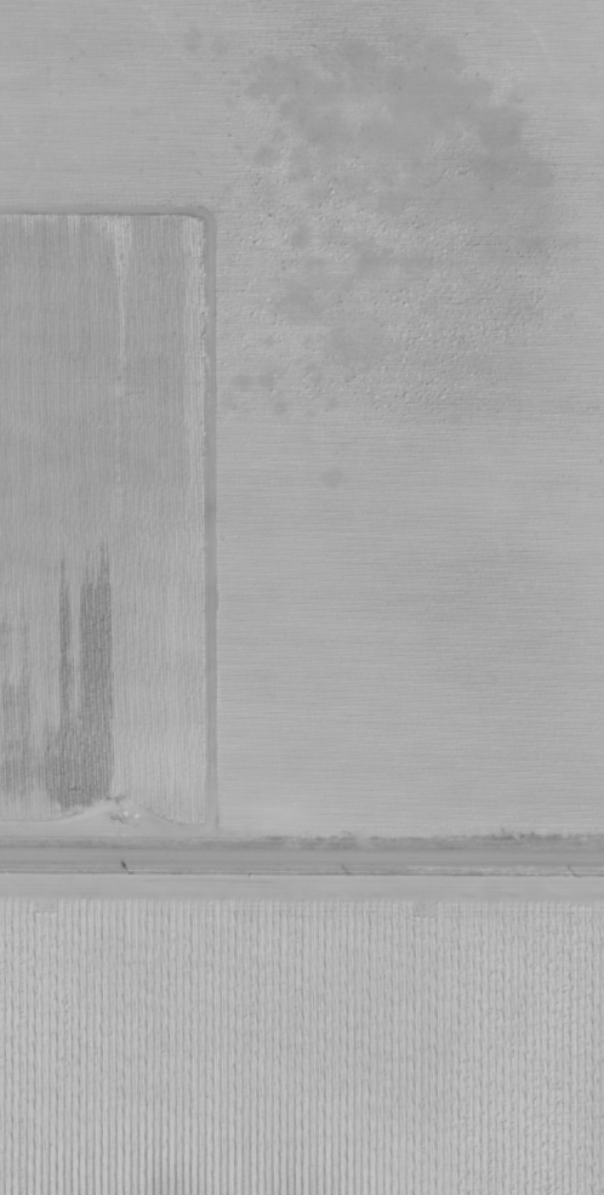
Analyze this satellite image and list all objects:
road: (302, 860)

